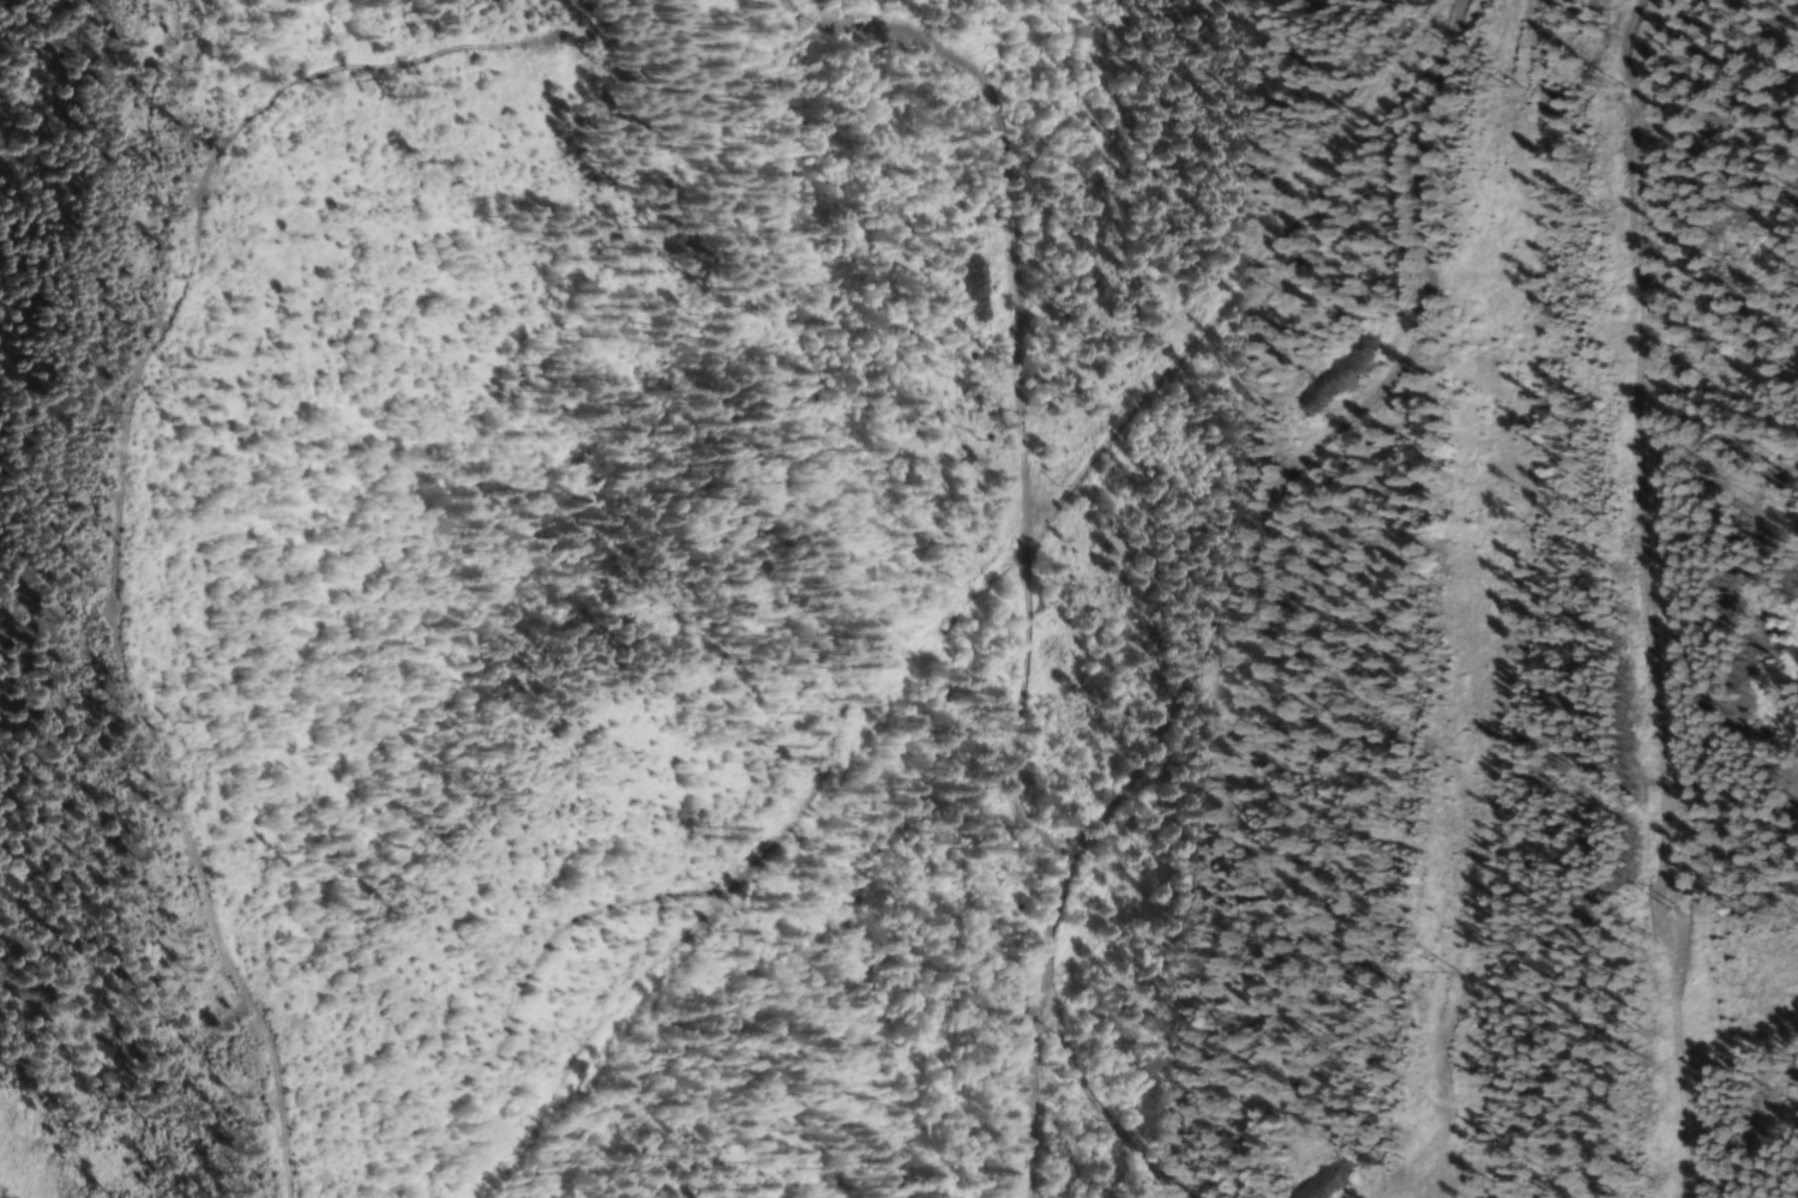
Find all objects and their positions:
power tower: (1514, 88)
power tower: (1449, 971)

